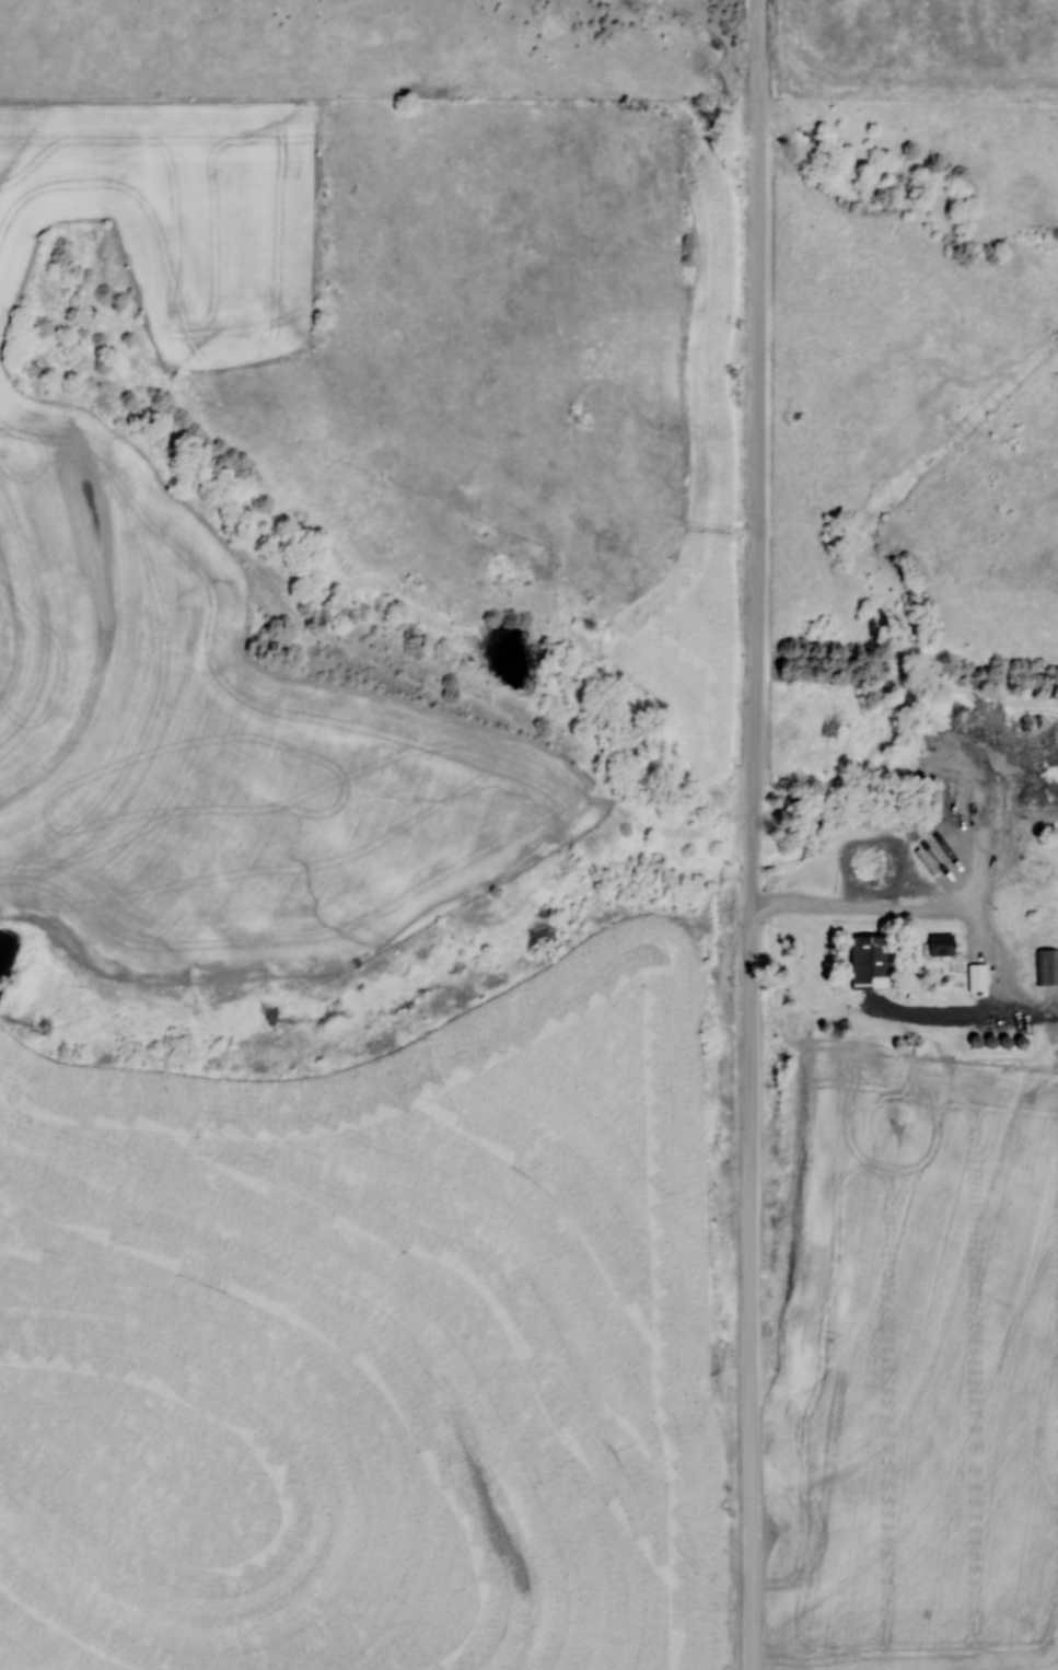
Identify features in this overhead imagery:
building: (981, 801)
road: (758, 834)
road: (871, 915)
building: (939, 943)
building: (865, 961)
building: (1046, 965)
building: (975, 976)

